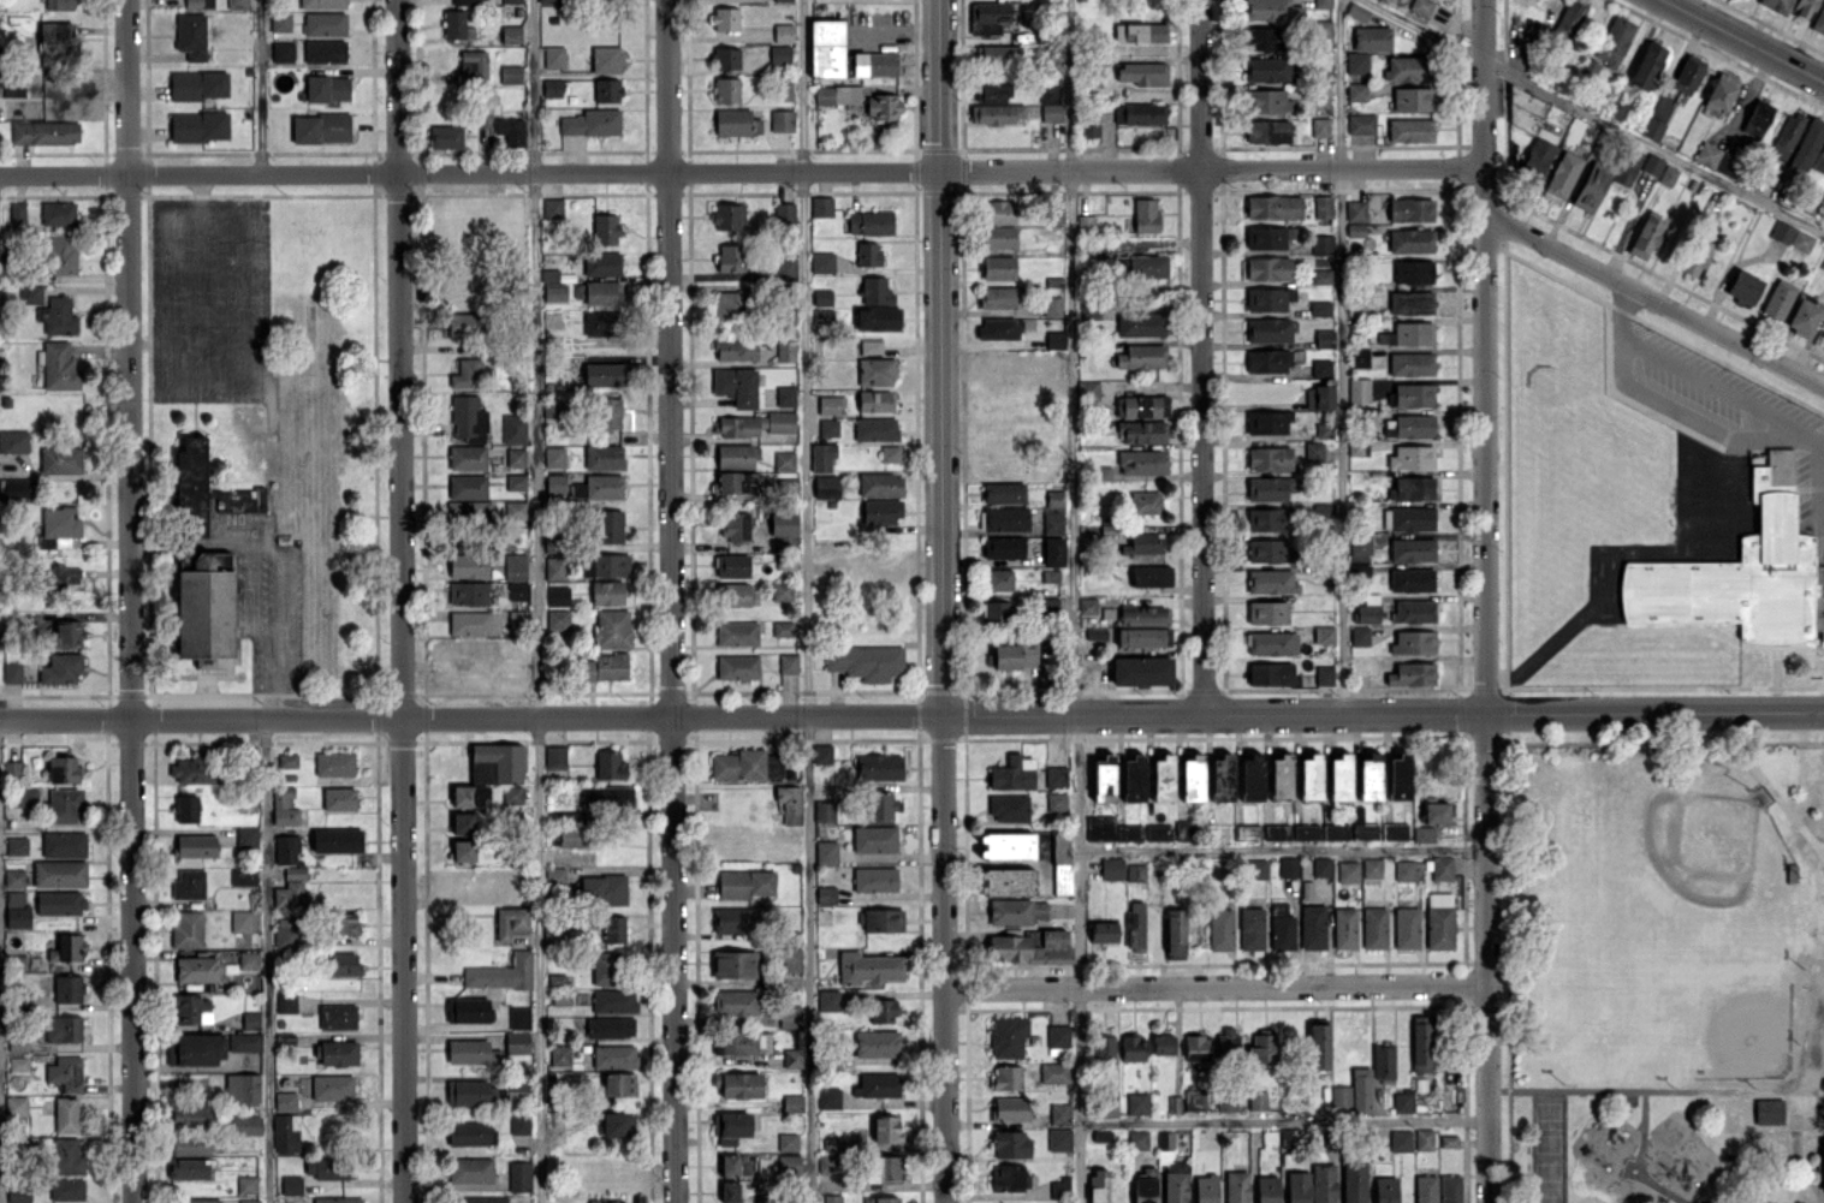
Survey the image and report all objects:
building: (1777, 5)
building: (1804, 7)
building: (1819, 22)
road: (1745, 40)
road: (261, 87)
road: (1594, 114)
building: (1758, 118)
building: (1787, 136)
building: (1807, 143)
building: (1819, 160)
road: (742, 171)
building: (1810, 204)
building: (1781, 231)
building: (1801, 240)
road: (198, 266)
building: (1822, 266)
building: (1780, 298)
road: (1653, 300)
building: (1805, 315)
building: (1822, 337)
road: (1341, 355)
road: (1202, 356)
road: (1701, 376)
building: (1774, 470)
road: (154, 542)
road: (184, 543)
building: (1739, 582)
road: (273, 594)
road: (130, 601)
road: (398, 601)
road: (537, 601)
road: (671, 601)
road: (807, 601)
road: (943, 601)
road: (1077, 601)
road: (1486, 601)
road: (911, 714)
road: (1770, 787)
road: (1284, 847)
park: (1686, 856)
road: (265, 959)
park: (1660, 965)
road: (1216, 983)
park: (1725, 1017)
road: (1819, 1046)
road: (1686, 1085)
road: (1645, 1107)
building: (1769, 1109)
road: (1285, 1120)
road: (1807, 1145)
park: (1549, 1147)
building: (1823, 1160)

